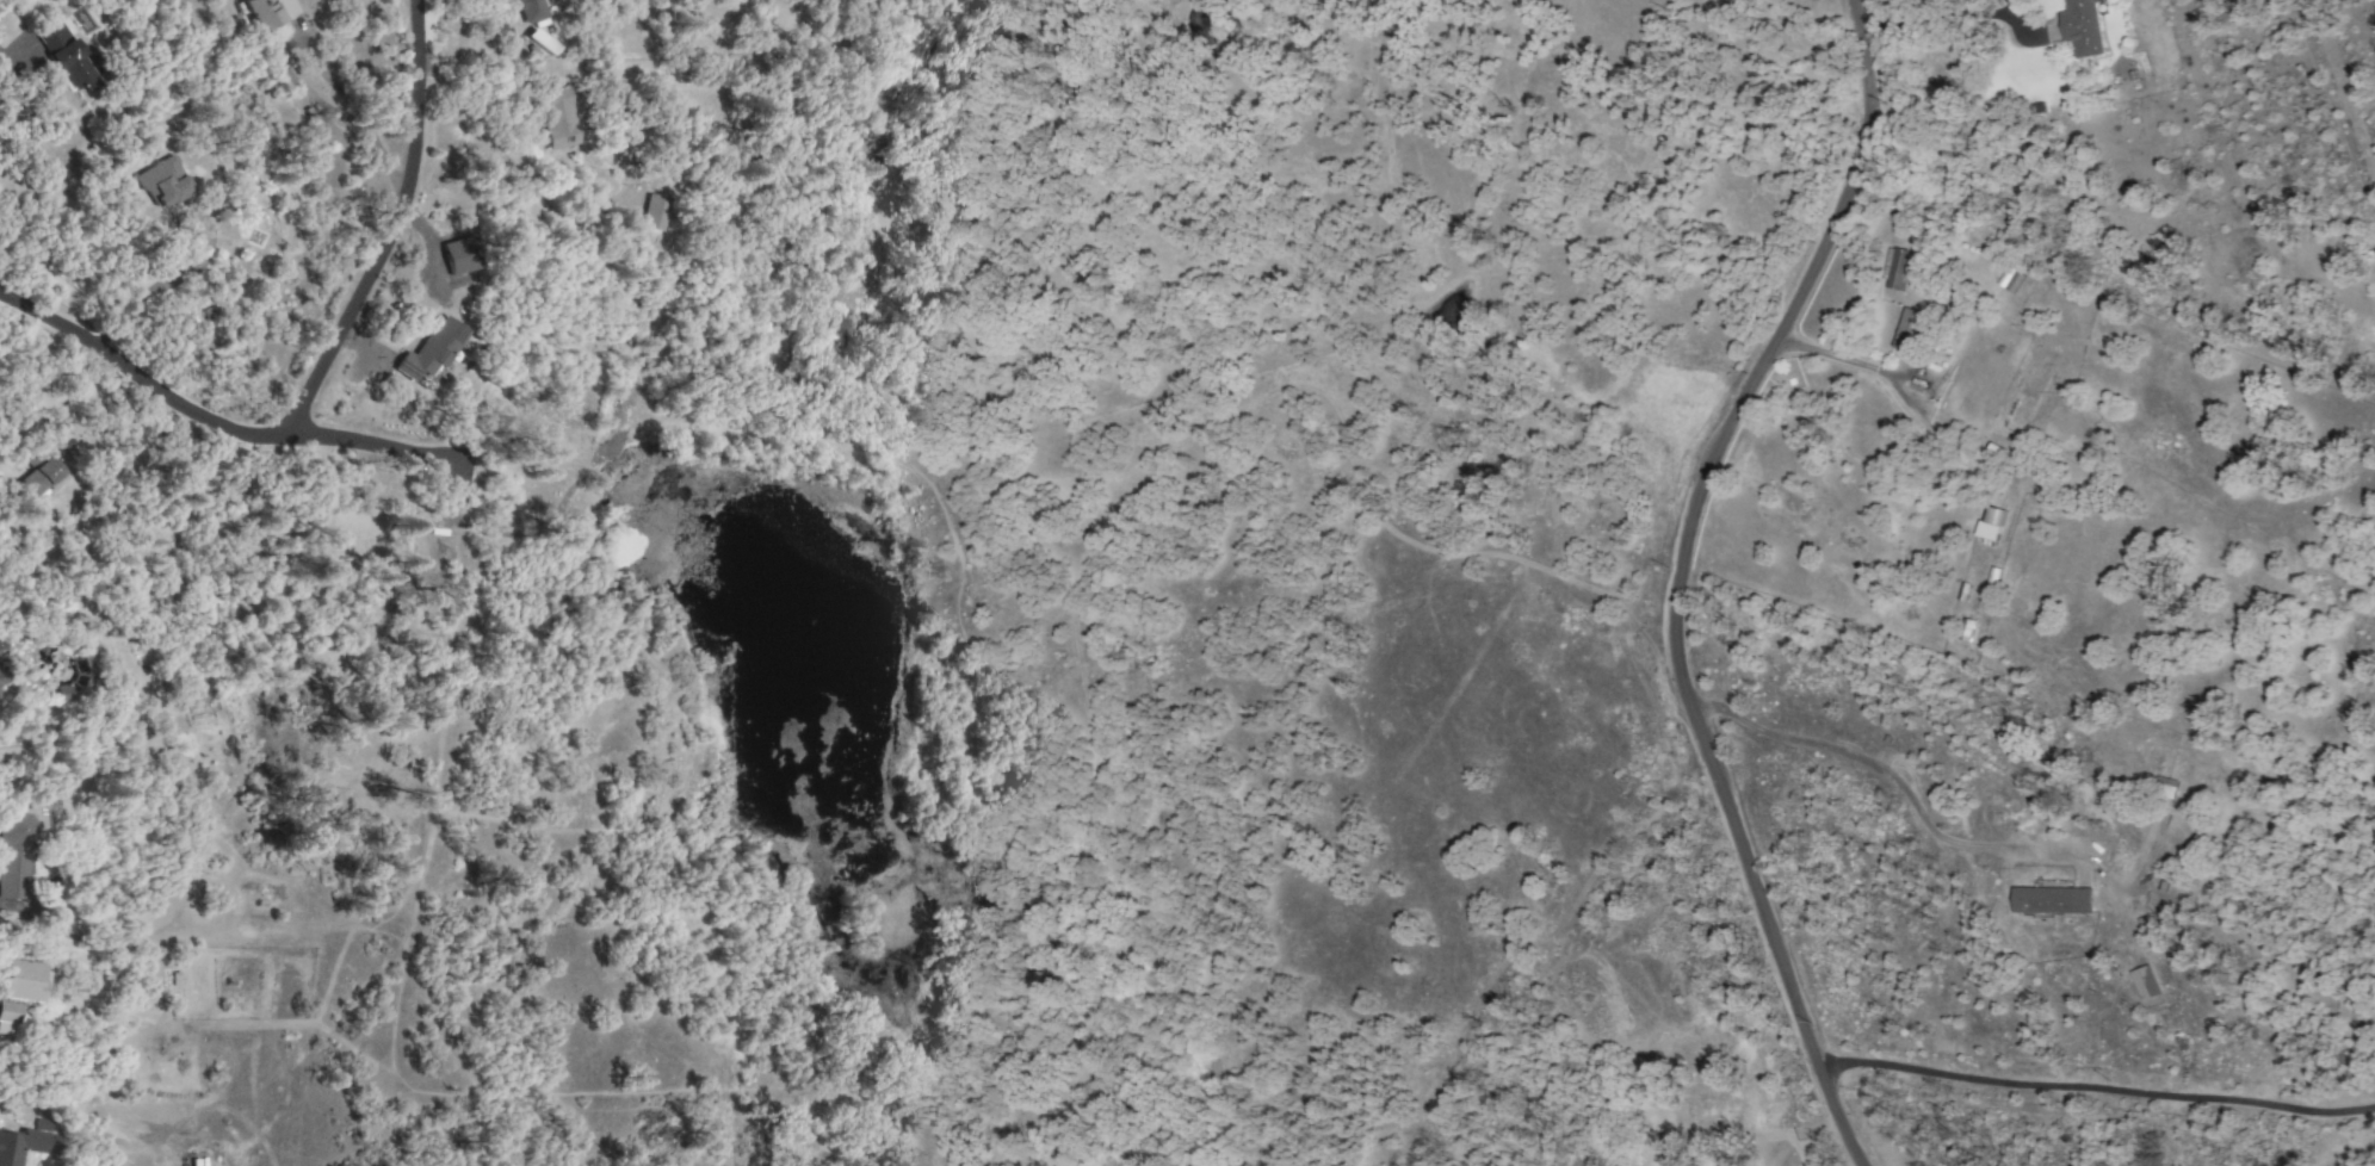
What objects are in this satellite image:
building: (530, 10)
building: (267, 12)
building: (2080, 27)
road: (418, 33)
building: (540, 42)
building: (64, 55)
road: (12, 58)
building: (556, 117)
road: (355, 125)
road: (512, 162)
building: (162, 182)
building: (652, 212)
building: (458, 255)
building: (1898, 269)
building: (2009, 279)
building: (1911, 331)
building: (431, 351)
road: (1901, 376)
road: (301, 399)
building: (2000, 422)
road: (372, 446)
building: (67, 453)
building: (33, 458)
building: (38, 478)
building: (1989, 525)
road: (1677, 579)
building: (1, 677)
building: (79, 681)
building: (0, 696)
road: (1878, 764)
building: (2161, 788)
building: (16, 852)
building: (2051, 900)
building: (19, 980)
building: (2144, 982)
building: (8, 1013)
road: (2095, 1087)
building: (18, 1145)

